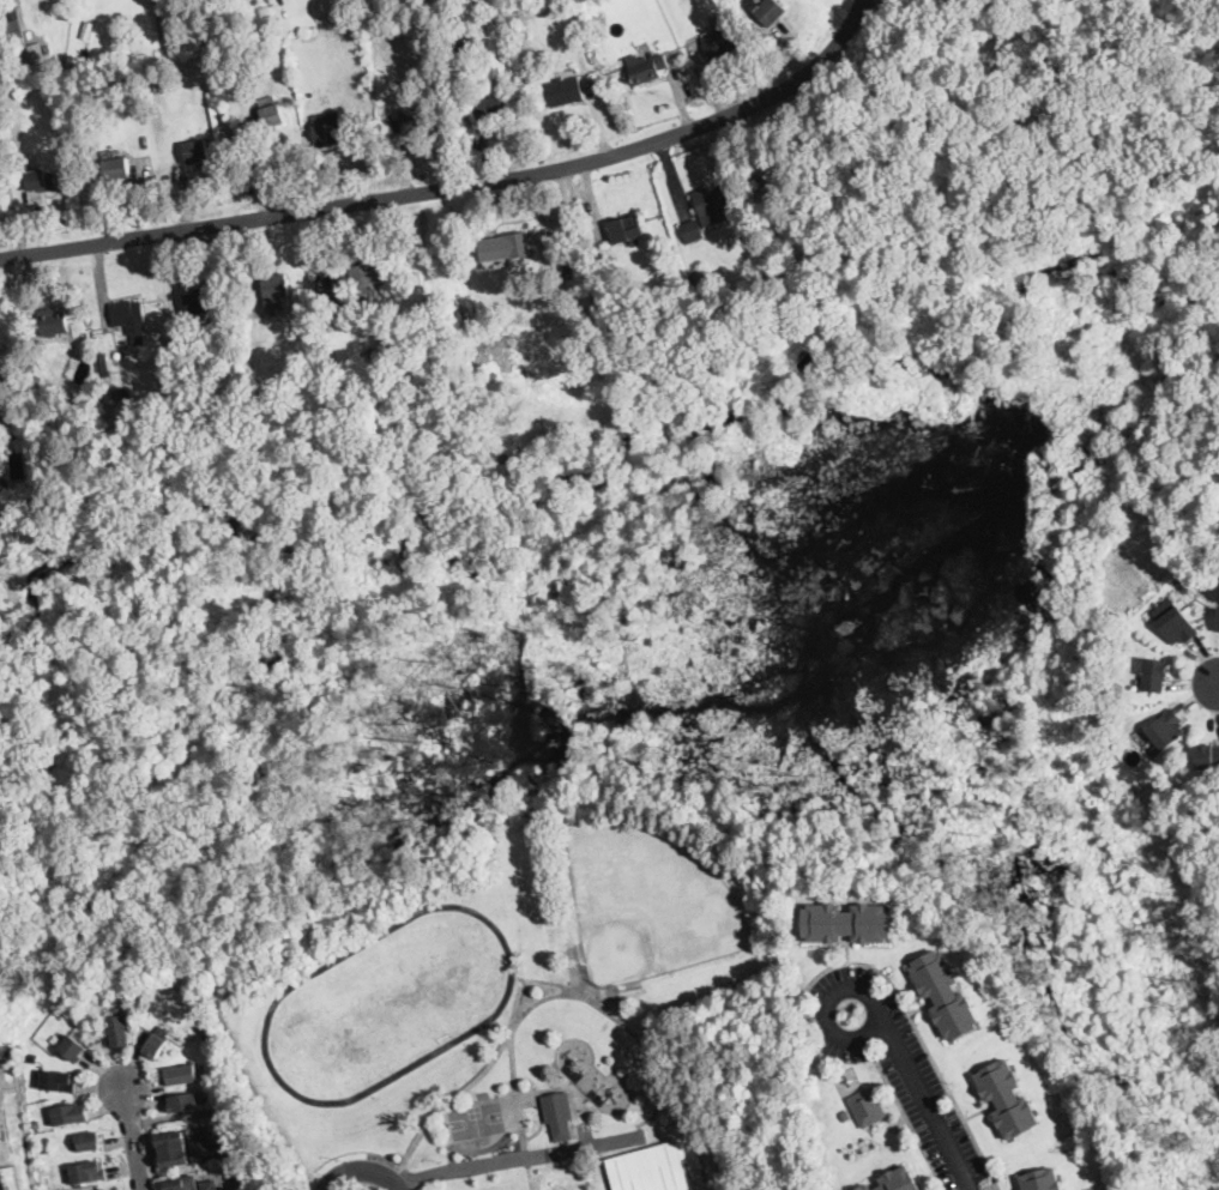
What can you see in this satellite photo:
building: (398, 5)
building: (767, 11)
building: (526, 16)
road: (915, 22)
building: (12, 23)
building: (581, 30)
building: (86, 34)
building: (719, 43)
building: (19, 44)
building: (647, 67)
building: (167, 86)
building: (565, 91)
building: (109, 92)
building: (135, 93)
road: (592, 99)
building: (493, 109)
building: (270, 114)
building: (415, 120)
building: (328, 134)
building: (201, 152)
building: (117, 170)
building: (766, 175)
building: (41, 181)
road: (454, 182)
building: (820, 201)
building: (711, 203)
building: (627, 229)
building: (692, 231)
building: (505, 247)
building: (754, 264)
building: (366, 273)
building: (699, 276)
building: (276, 291)
building: (204, 301)
building: (338, 303)
building: (671, 304)
building: (129, 315)
building: (53, 324)
building: (660, 325)
building: (382, 333)
building: (593, 342)
building: (241, 355)
building: (306, 360)
building: (104, 361)
building: (207, 377)
building: (126, 393)
building: (2, 398)
building: (34, 478)
building: (4, 483)
building: (1183, 578)
building: (1201, 591)
building: (1217, 622)
building: (1177, 626)
building: (1154, 675)
road: (1218, 688)
building: (1165, 730)
building: (1207, 756)
park: (646, 900)
building: (847, 923)
building: (581, 950)
building: (634, 985)
building: (945, 995)
road: (521, 998)
road: (826, 1004)
building: (137, 1007)
building: (188, 1025)
building: (121, 1029)
road: (922, 1039)
building: (156, 1045)
road: (646, 1045)
building: (73, 1049)
building: (32, 1056)
road: (513, 1061)
building: (180, 1075)
building: (59, 1081)
road: (471, 1082)
building: (1007, 1099)
building: (183, 1103)
building: (868, 1107)
road: (931, 1107)
building: (70, 1113)
road: (211, 1115)
building: (559, 1115)
building: (845, 1116)
road: (909, 1124)
building: (37, 1125)
road: (2, 1135)
road: (133, 1136)
building: (89, 1141)
building: (199, 1143)
building: (174, 1148)
road: (150, 1155)
road: (517, 1160)
building: (650, 1167)
building: (89, 1172)
road: (362, 1173)
building: (899, 1179)
building: (1042, 1179)
building: (6, 1180)
building: (183, 1183)
building: (209, 1185)
building: (865, 1188)
building: (107, 1189)

